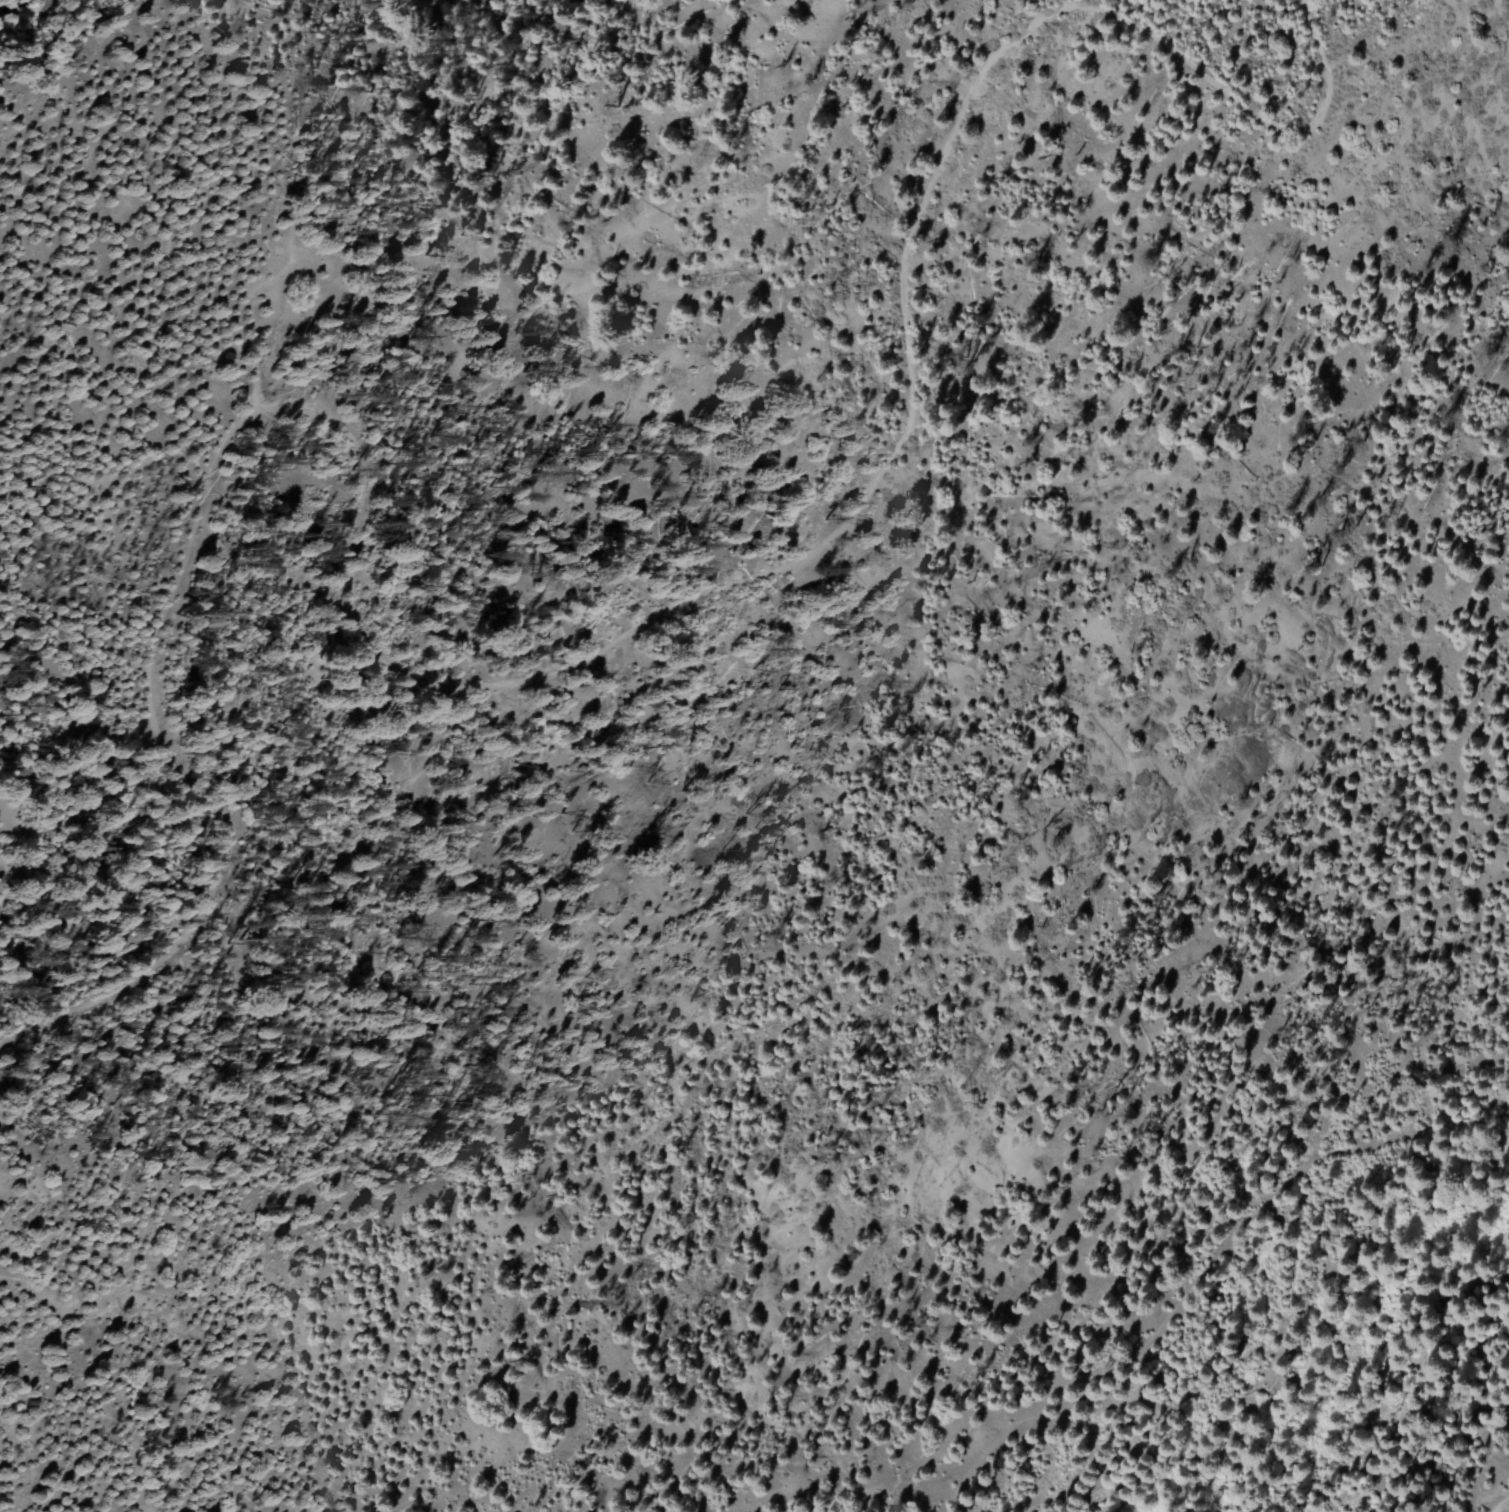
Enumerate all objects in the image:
road: (550, 669)
road: (1501, 1505)

